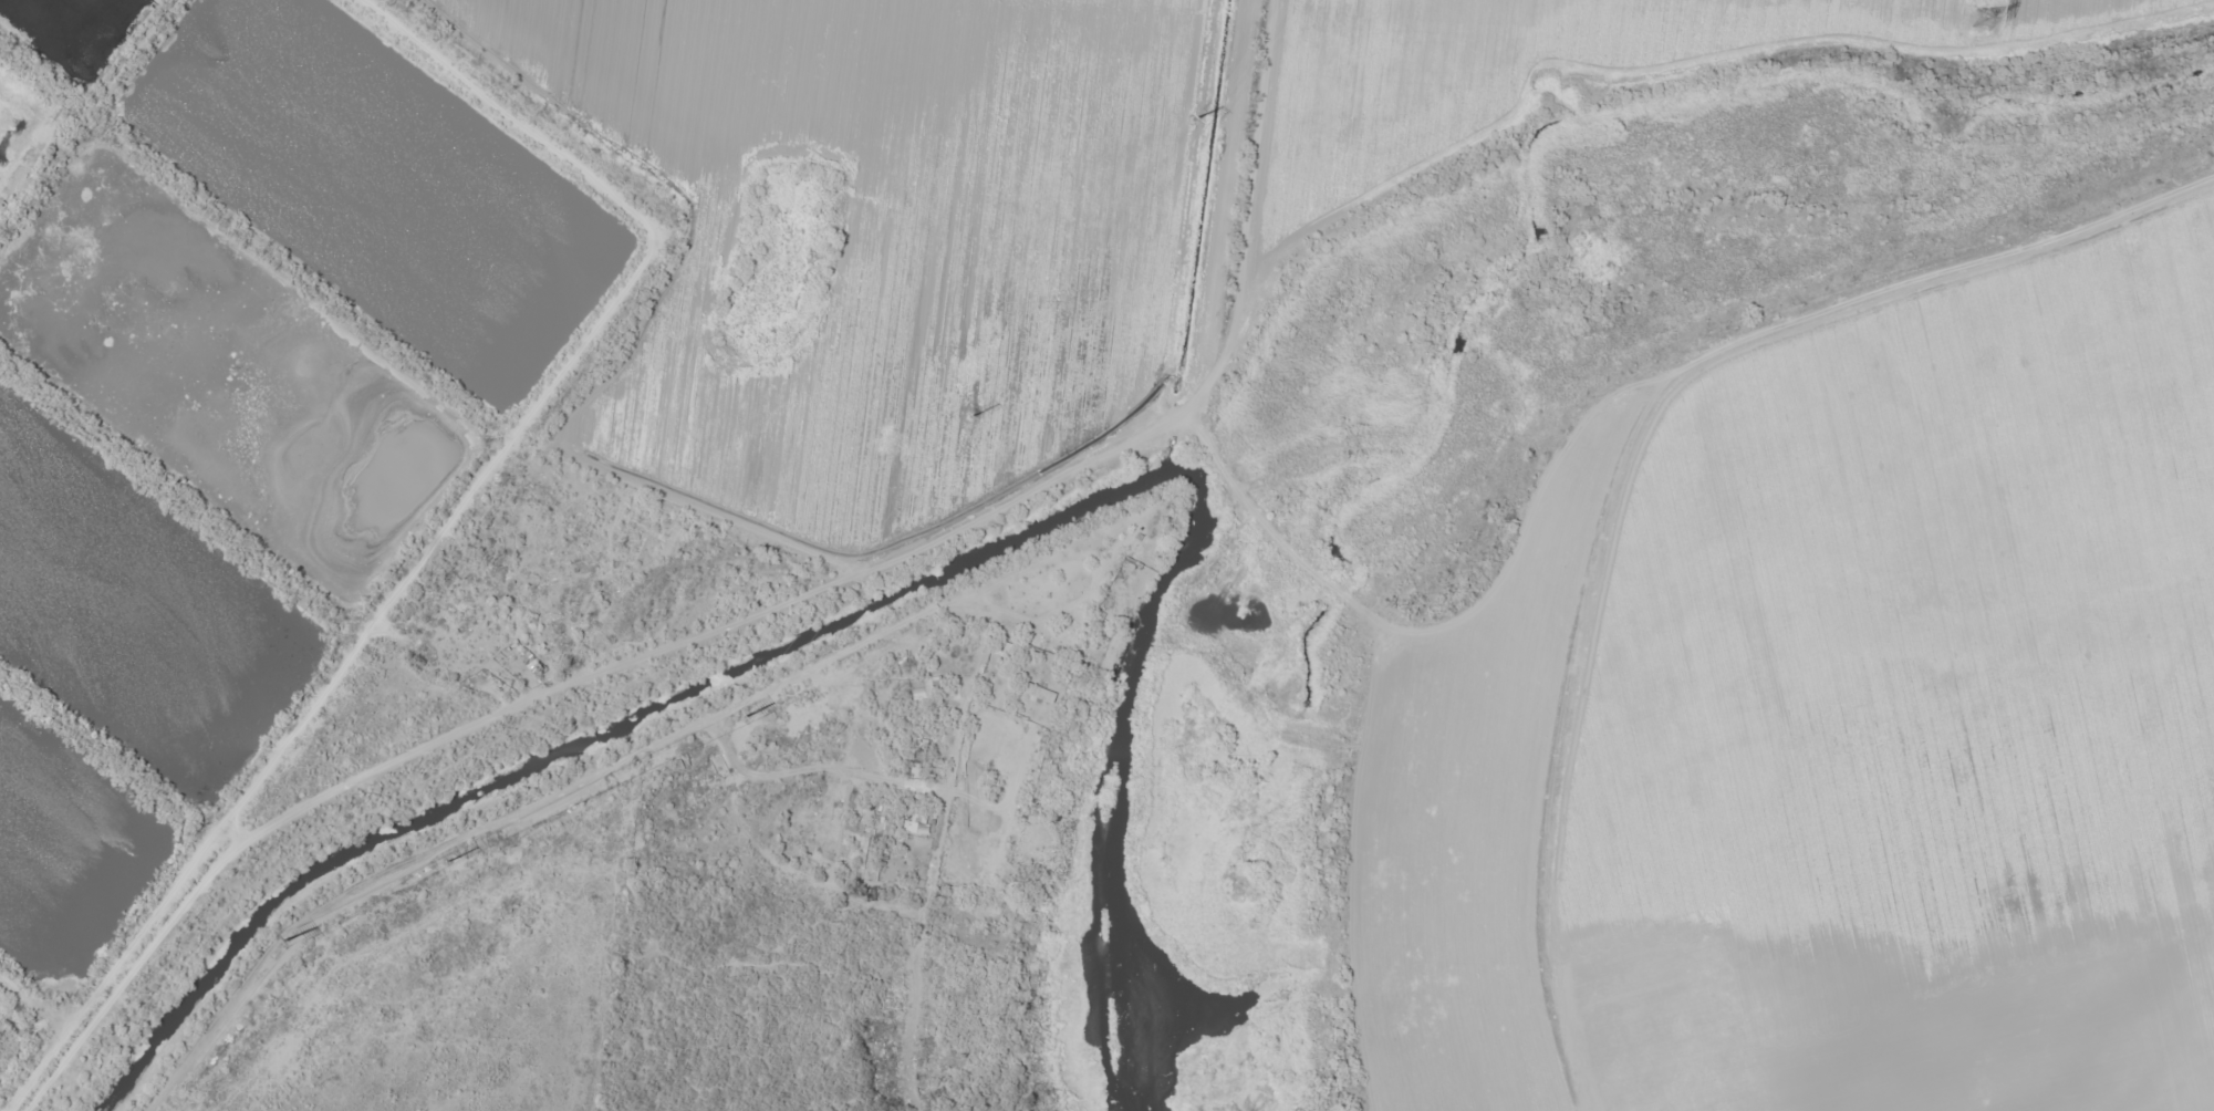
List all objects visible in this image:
power tower: (1954, 7)
power tower: (1192, 117)
power tower: (958, 414)
power tower: (746, 715)
power tower: (441, 855)
power tower: (279, 938)

